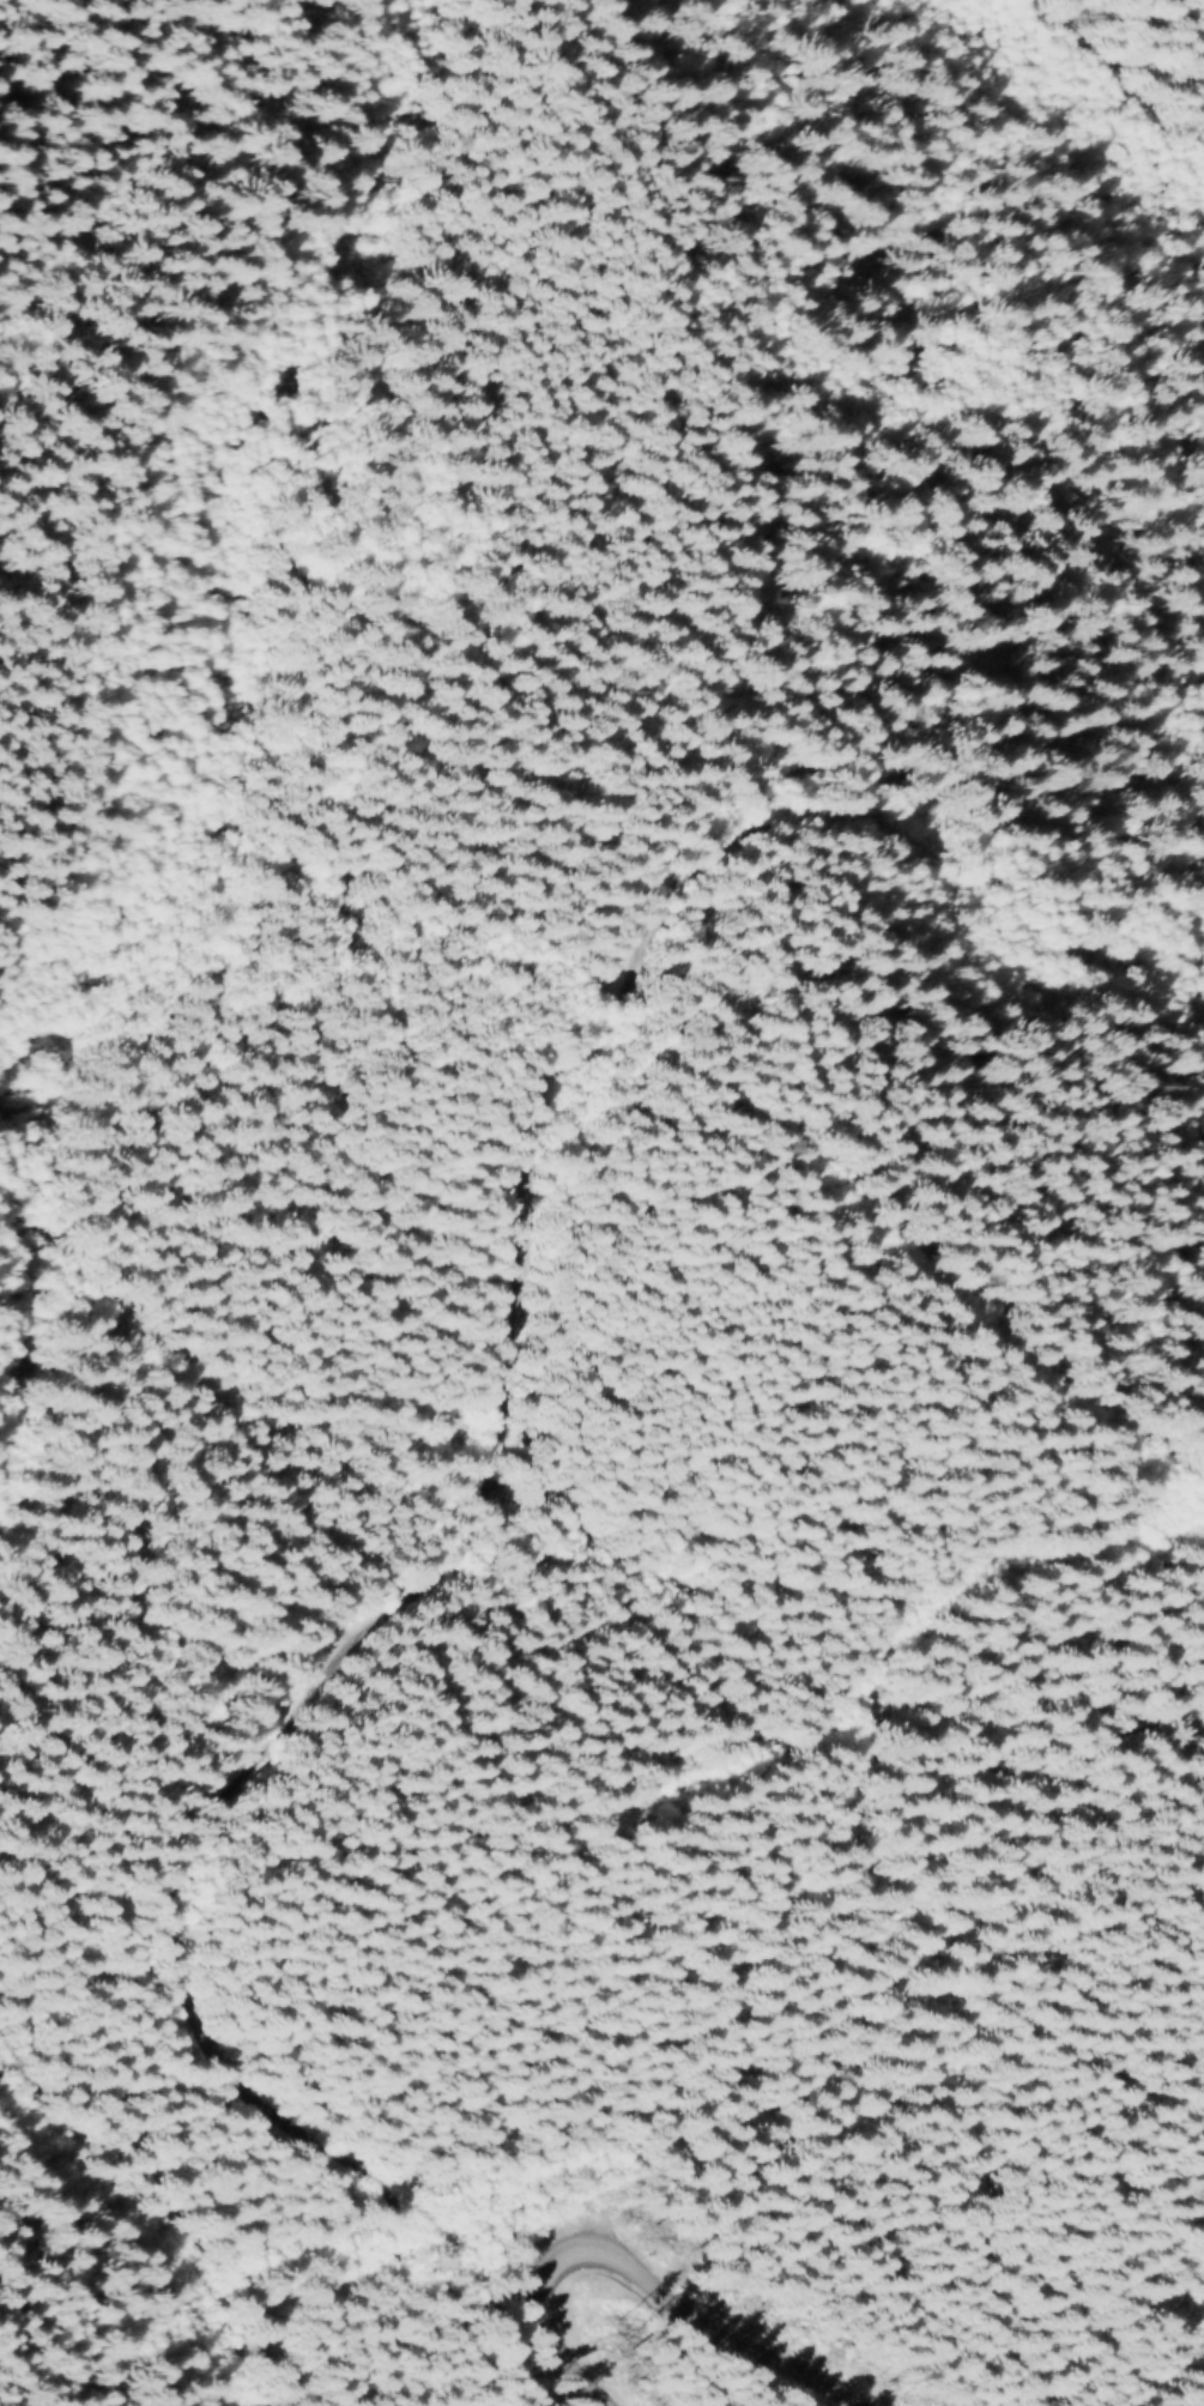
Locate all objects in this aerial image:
road: (490, 1450)
road: (577, 2339)

